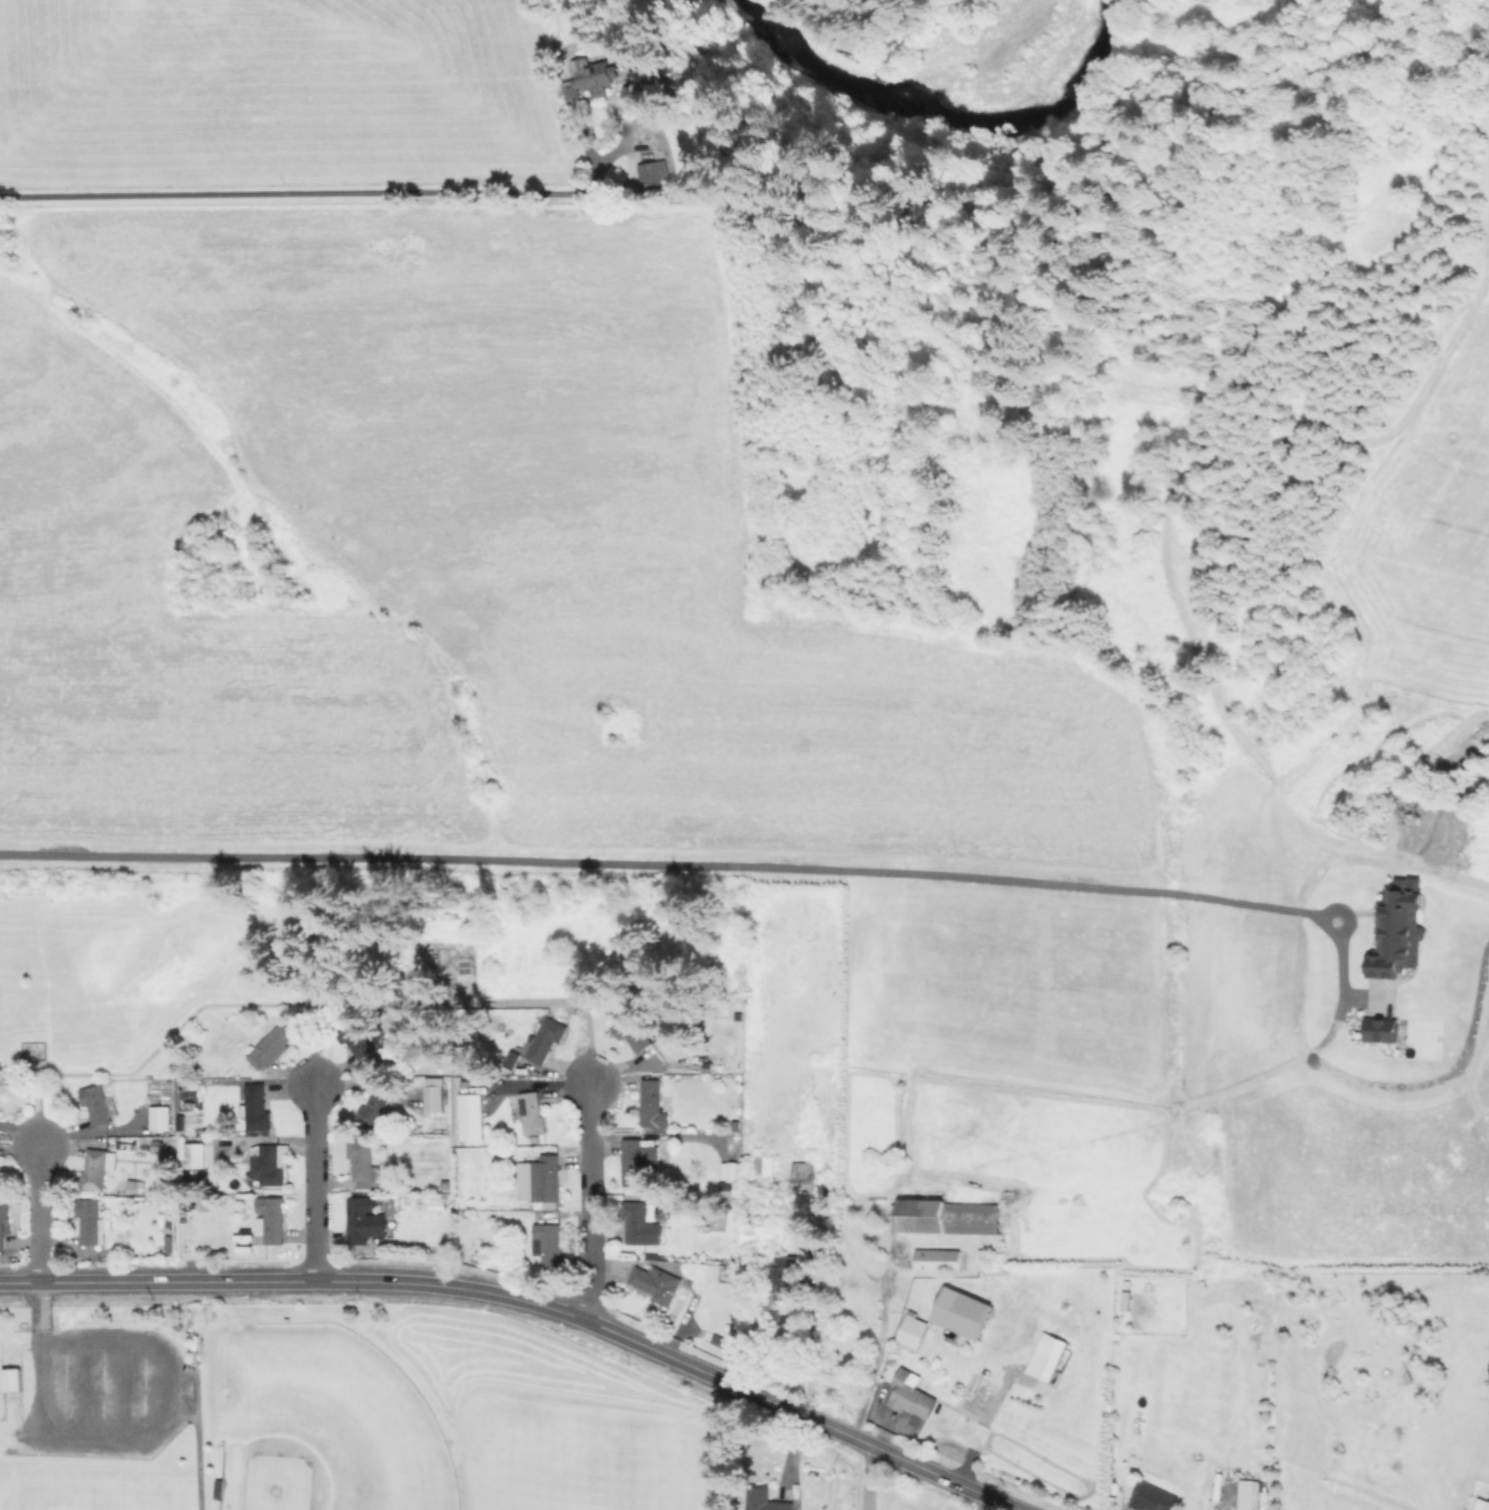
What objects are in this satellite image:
building: (594, 73)
crop: (276, 85)
building: (572, 89)
building: (648, 175)
road: (320, 193)
road: (685, 869)
road: (302, 992)
building: (632, 1033)
building: (546, 1041)
building: (271, 1047)
building: (514, 1057)
building: (1, 1094)
building: (437, 1094)
building: (99, 1105)
building: (652, 1105)
building: (256, 1108)
building: (374, 1108)
building: (531, 1113)
building: (161, 1118)
building: (198, 1157)
building: (638, 1160)
building: (270, 1164)
building: (363, 1164)
building: (765, 1167)
building: (729, 1169)
building: (857, 1169)
building: (94, 1171)
building: (803, 1177)
building: (546, 1181)
road: (313, 1185)
building: (446, 1185)
building: (729, 1189)
building: (438, 1204)
road: (589, 1205)
road: (37, 1211)
building: (948, 1217)
building: (270, 1220)
building: (365, 1220)
building: (3, 1222)
building: (93, 1222)
building: (641, 1225)
building: (170, 1244)
building: (547, 1244)
building: (808, 1244)
building: (938, 1260)
building: (787, 1278)
building: (656, 1283)
road: (530, 1300)
building: (860, 1301)
building: (912, 1332)
building: (718, 1341)
road: (876, 1359)
building: (1045, 1364)
building: (13, 1380)
building: (912, 1396)
building: (1053, 1406)
park: (324, 1419)
road: (121, 1432)
road: (869, 1476)
park: (98, 1480)
building: (219, 1489)
building: (1153, 1498)
building: (765, 1499)
building: (1481, 1504)

